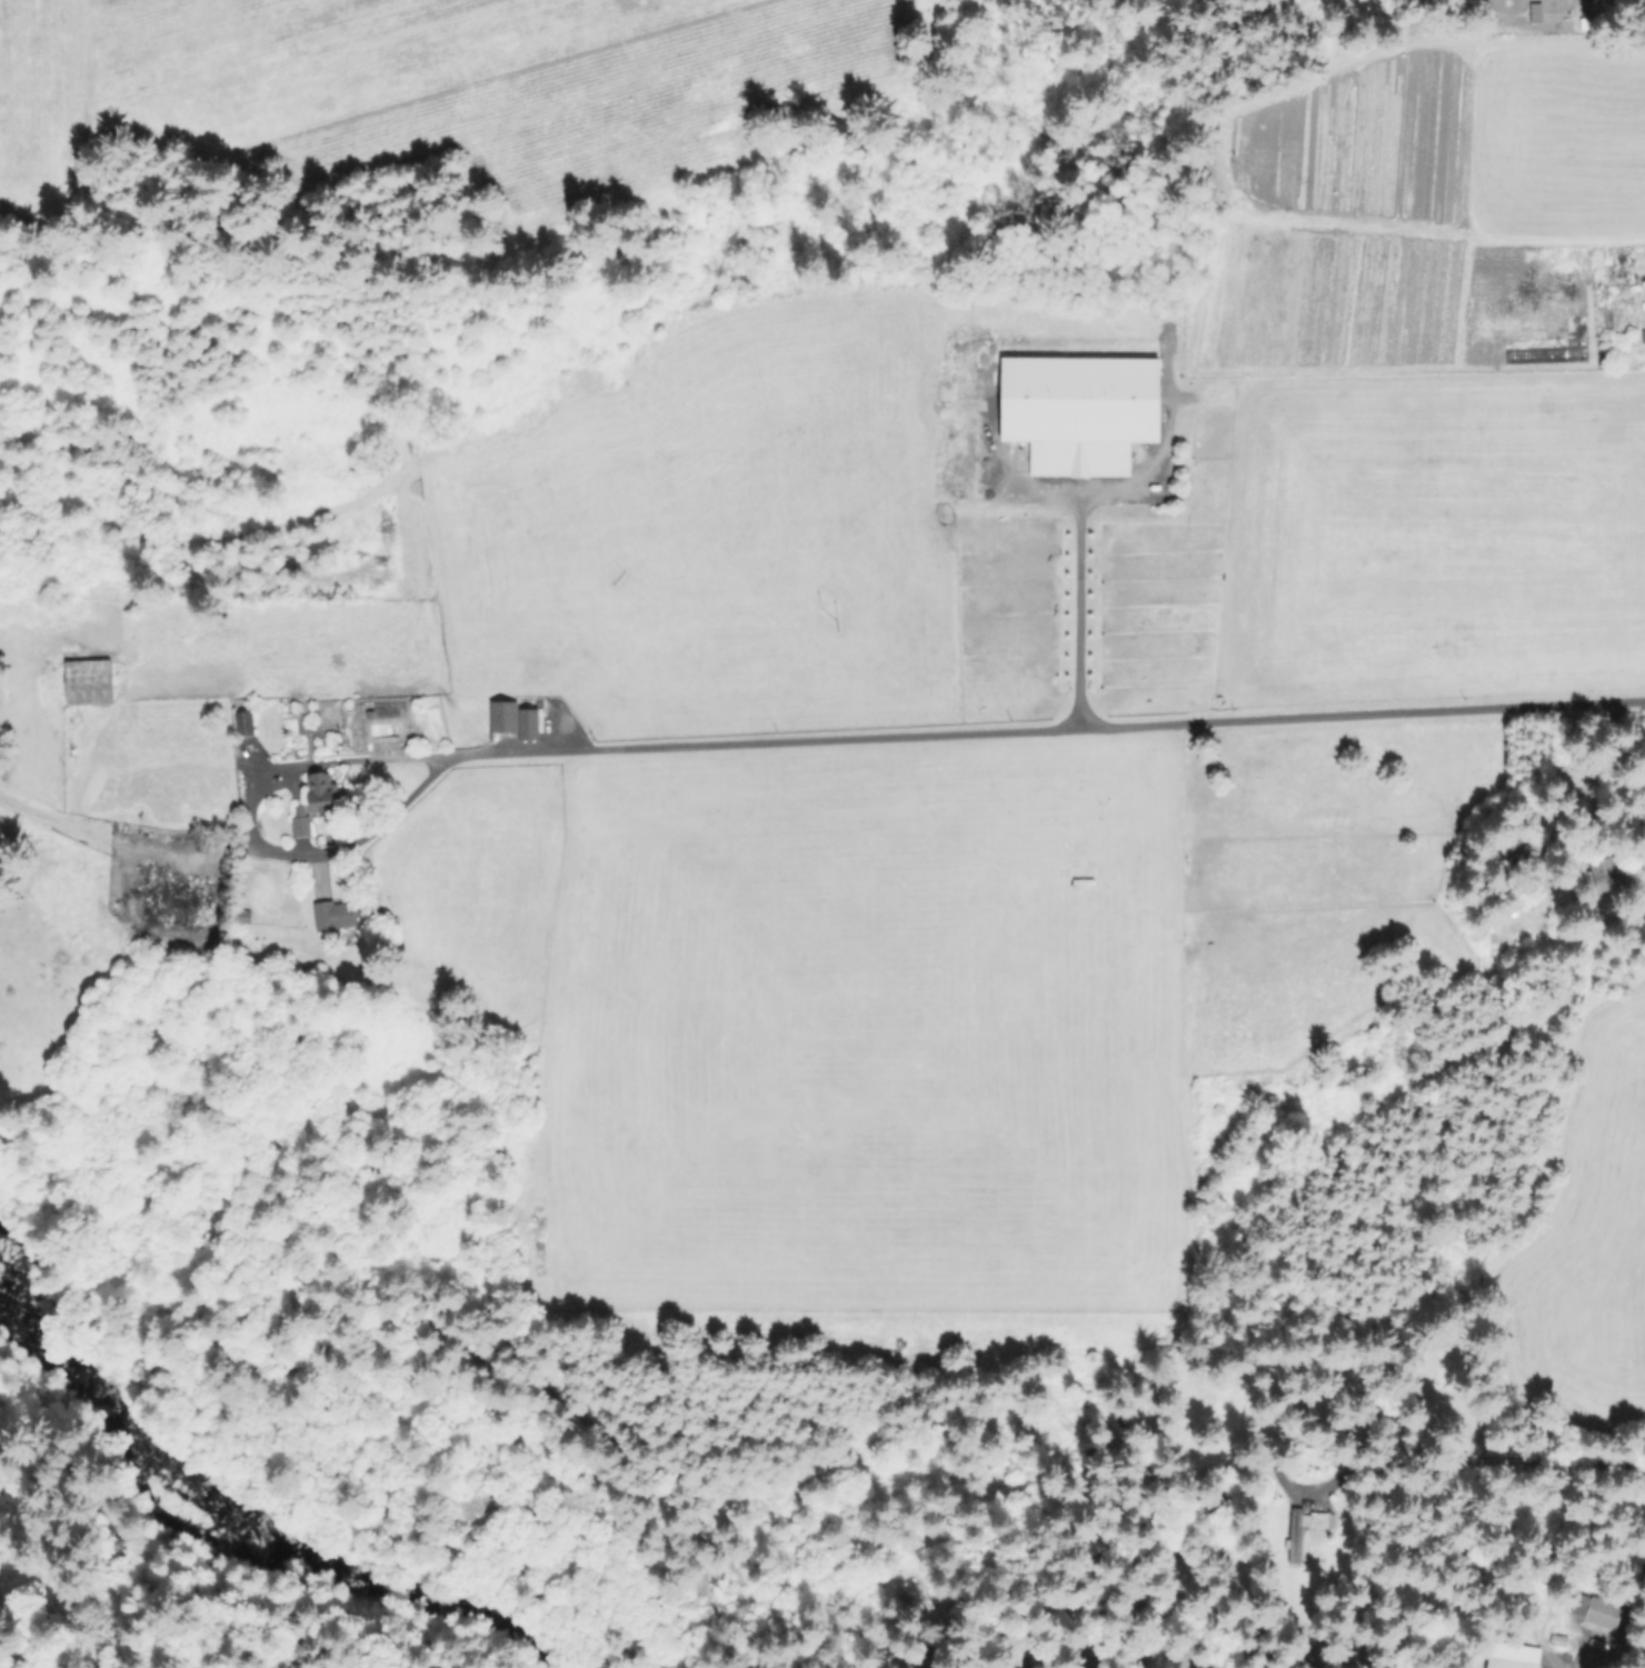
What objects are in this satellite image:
building: (1536, 12)
crop: (407, 82)
crop: (1442, 356)
building: (1081, 411)
road: (1070, 607)
building: (90, 682)
building: (516, 719)
building: (246, 723)
road: (1044, 727)
road: (1593, 773)
building: (322, 791)
building: (302, 821)
crop: (870, 826)
road: (250, 829)
building: (1517, 847)
building: (1611, 872)
building: (178, 903)
building: (346, 913)
building: (243, 915)
crop: (1582, 1248)
building: (1303, 1530)
building: (1641, 1565)
building: (1598, 1610)
building: (1508, 1664)

